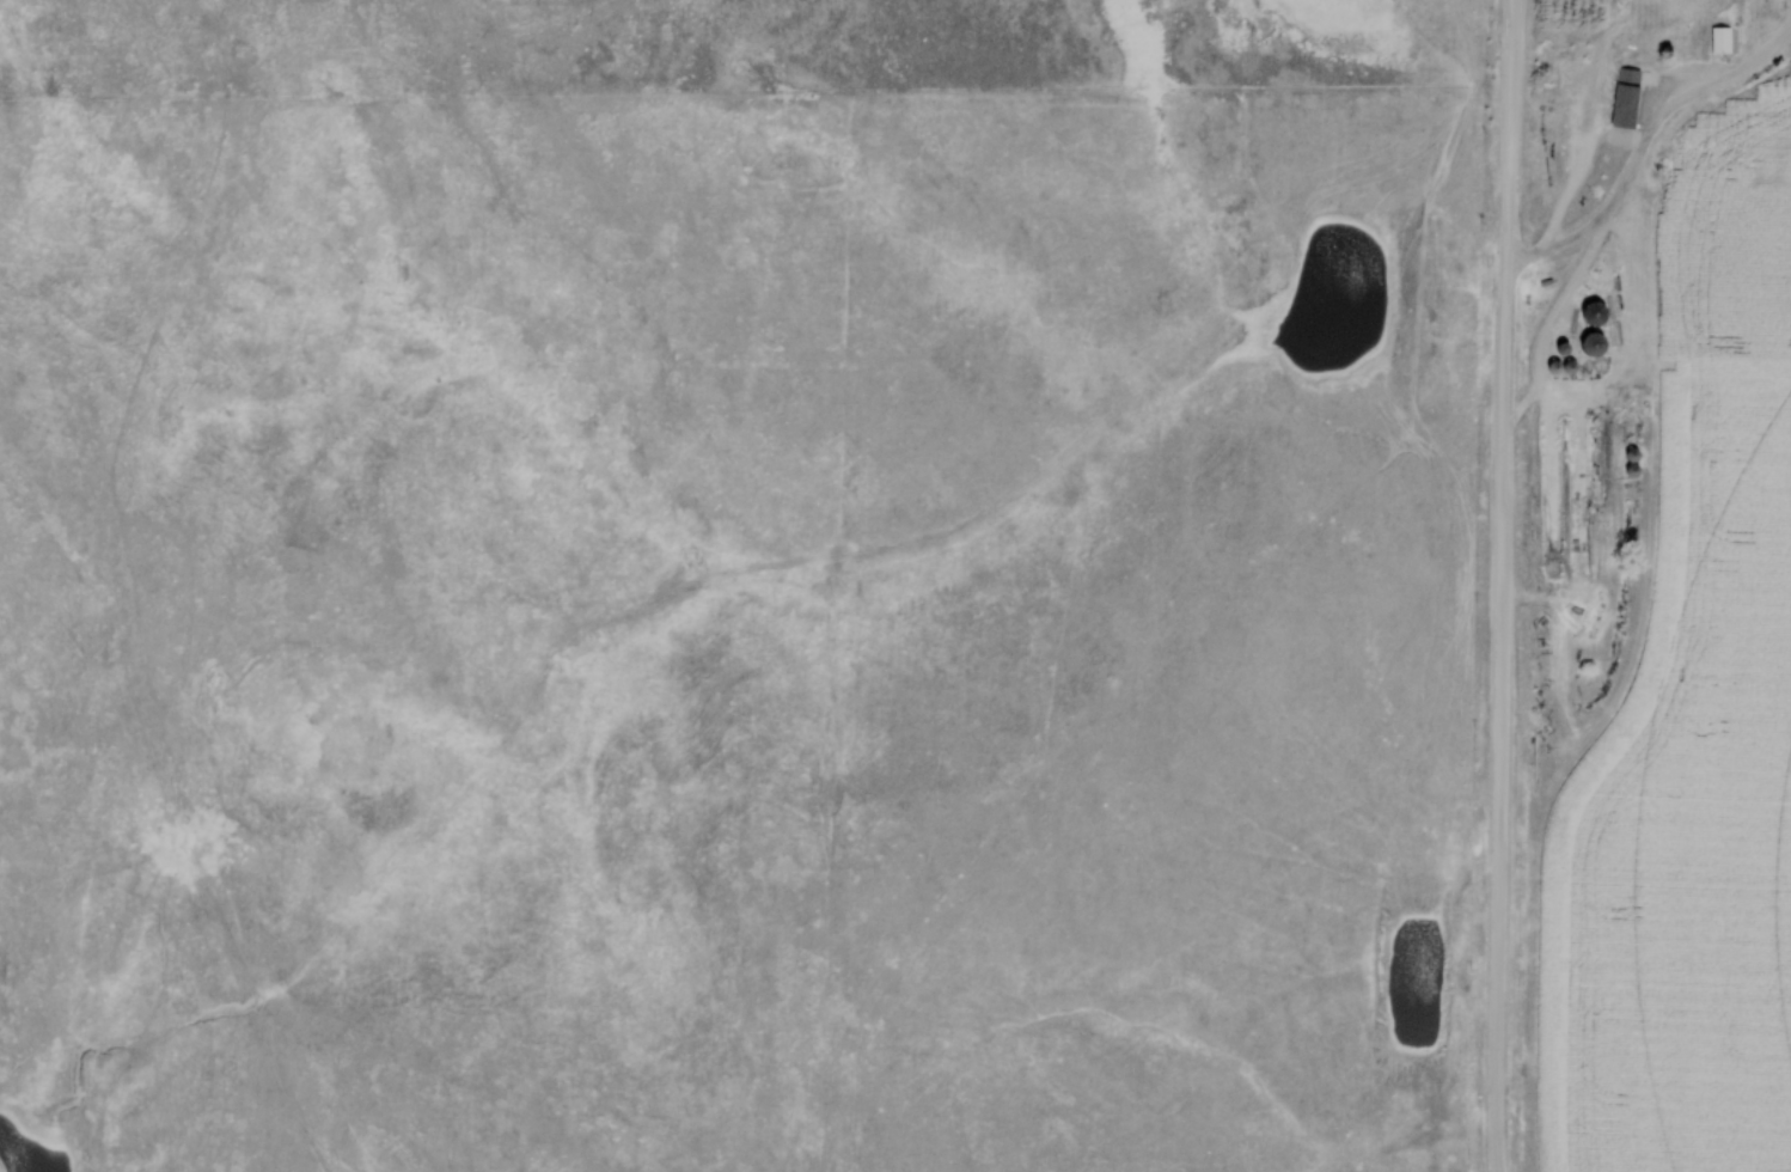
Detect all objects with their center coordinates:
building: (1661, 26)
building: (1725, 41)
road: (1616, 194)
building: (1599, 313)
road: (1500, 585)

